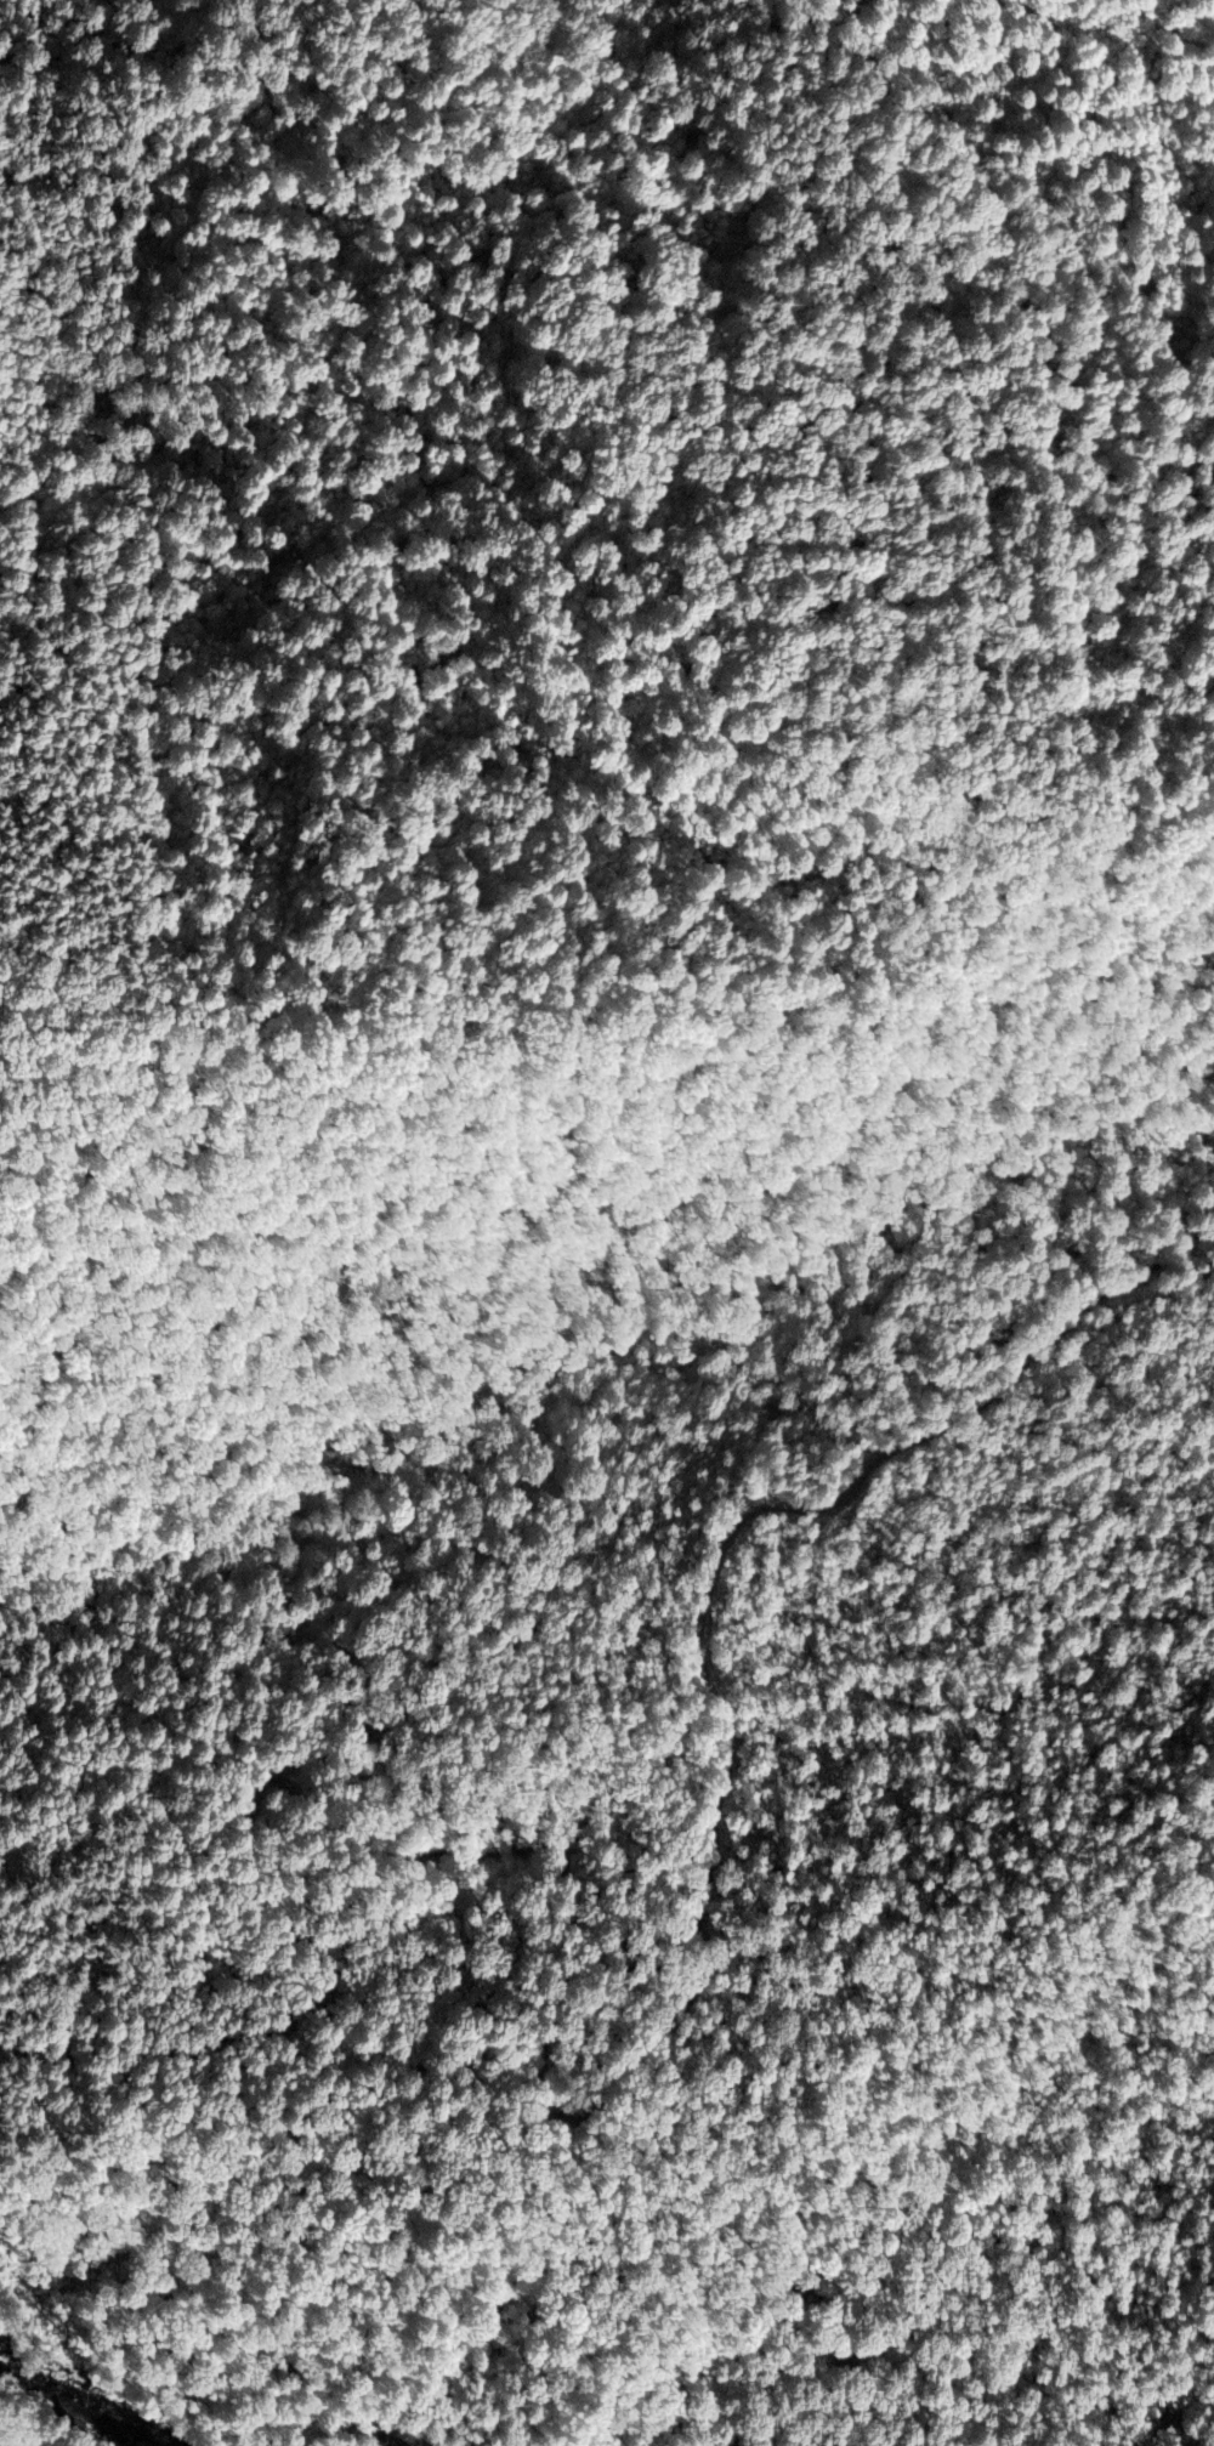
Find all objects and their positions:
road: (305, 1993)
road: (193, 2281)
river: (56, 2423)

